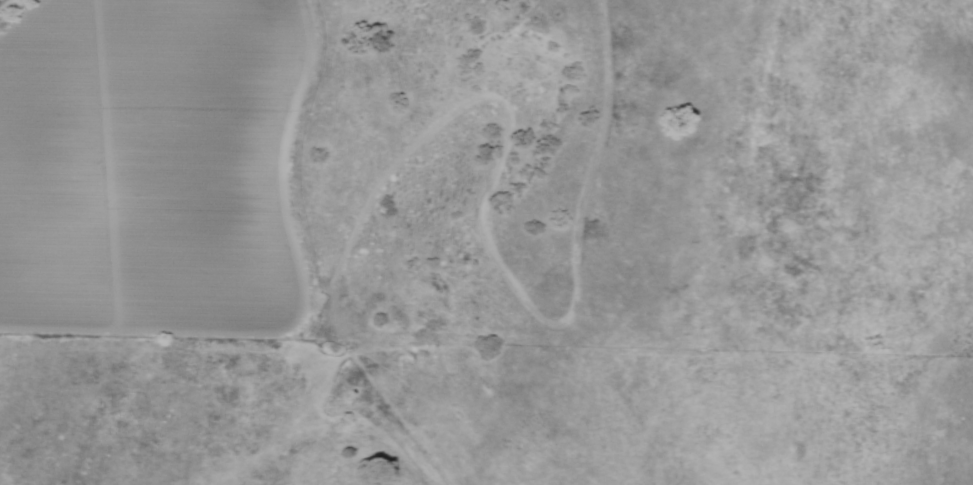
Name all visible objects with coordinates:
crop: (153, 165)
road: (288, 197)
road: (333, 393)

